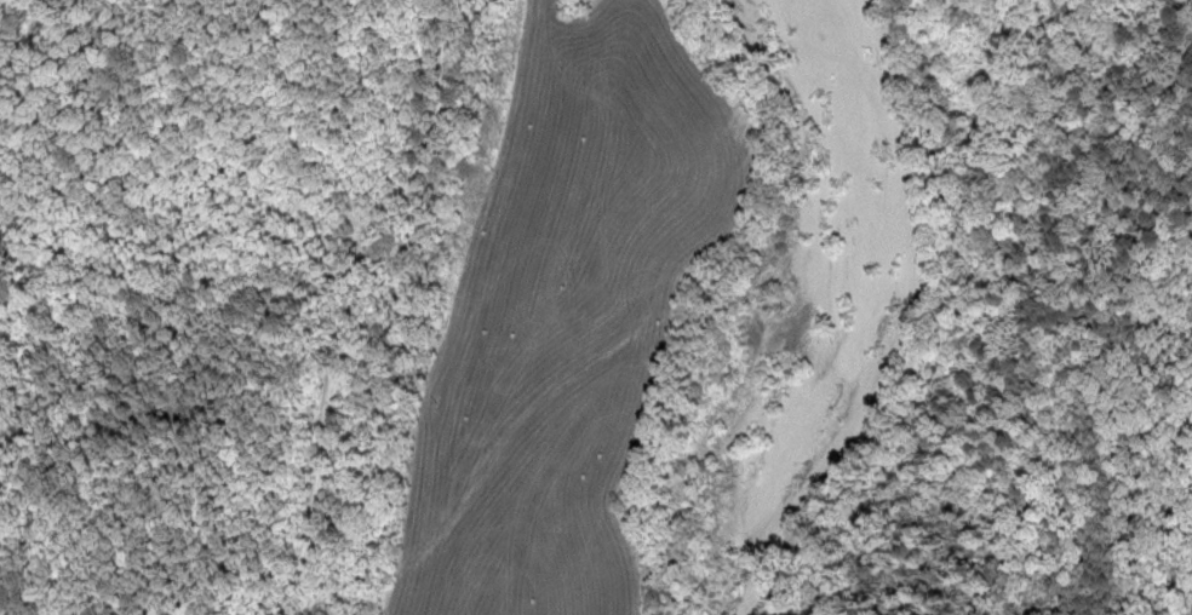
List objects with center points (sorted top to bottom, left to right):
road: (361, 303)

